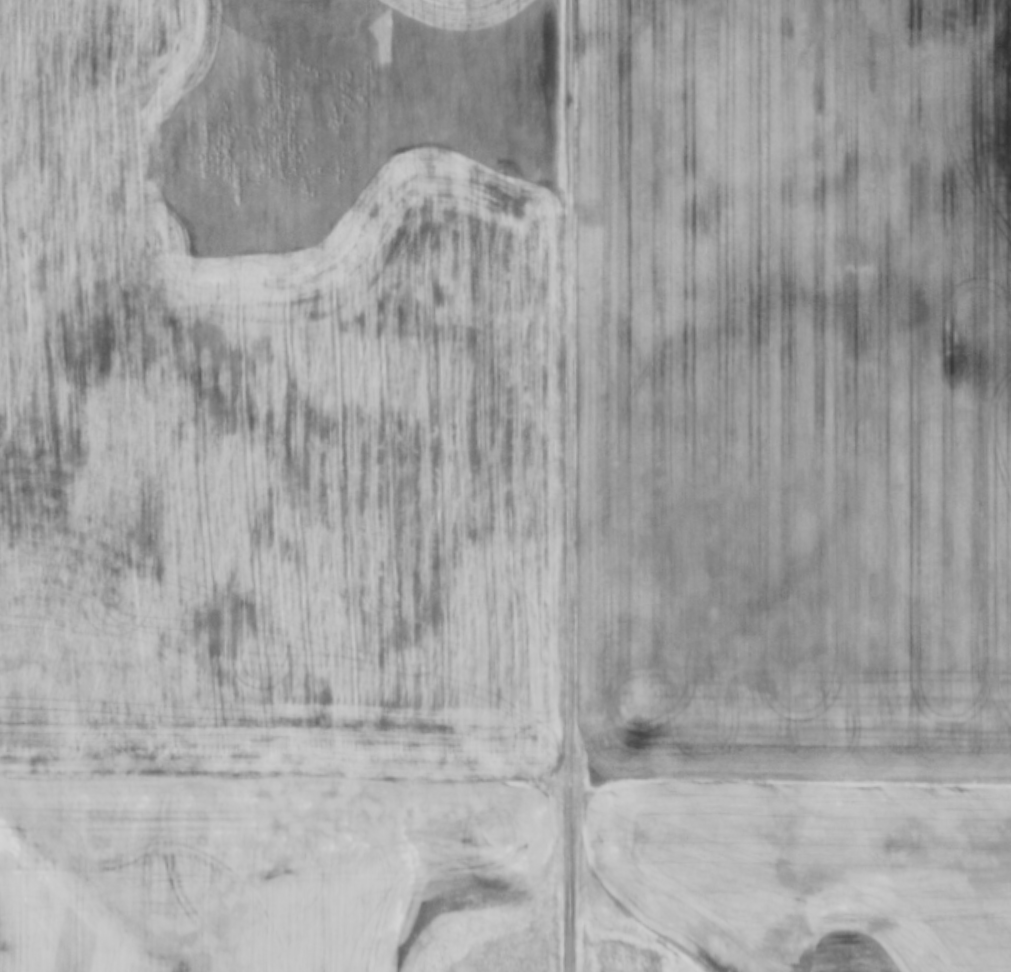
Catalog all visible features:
road: (569, 486)

